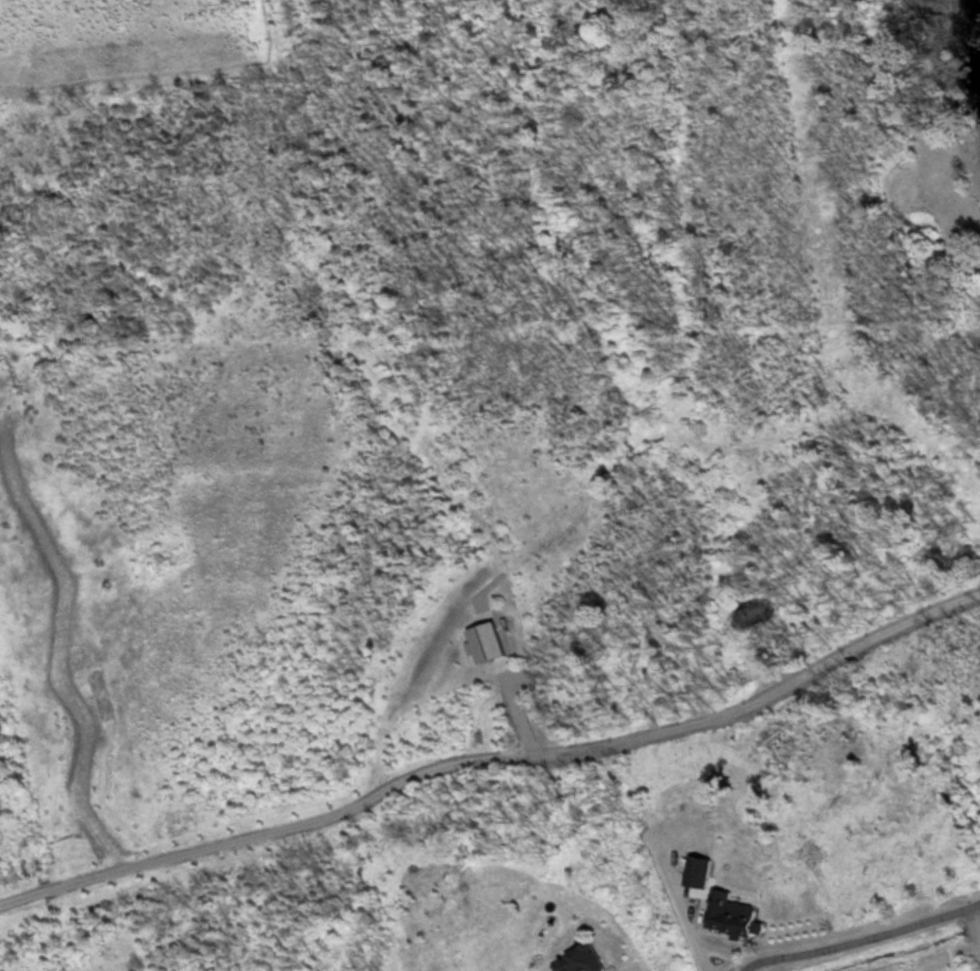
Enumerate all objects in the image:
road: (797, 17)
building: (739, 914)
road: (860, 937)
building: (589, 959)

